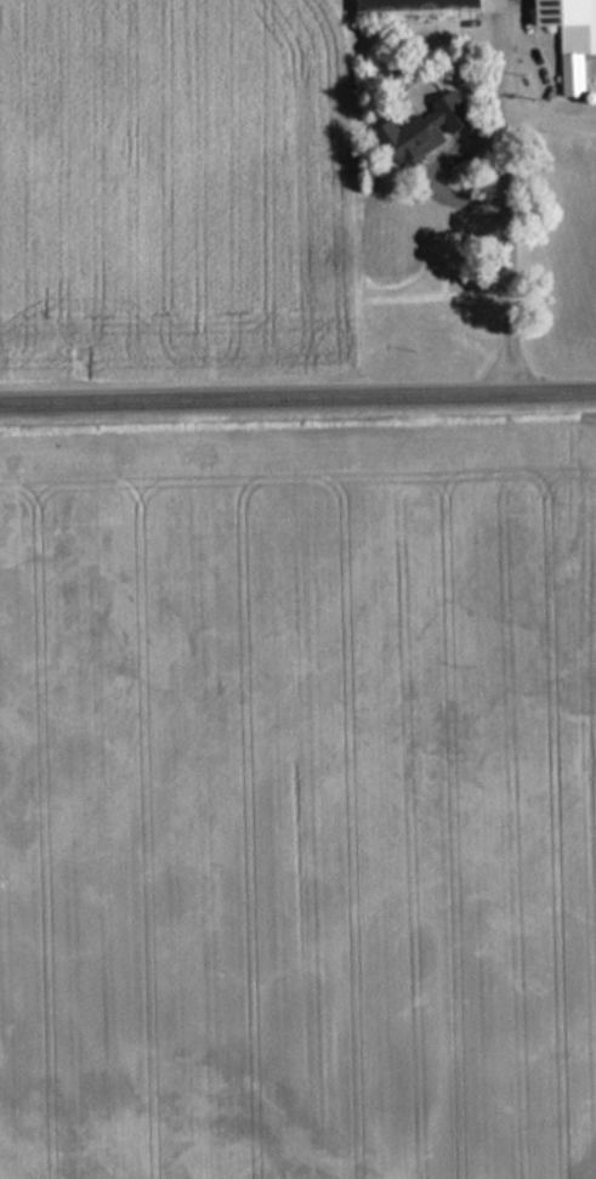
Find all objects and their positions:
building: (413, 6)
building: (568, 34)
building: (427, 148)
road: (509, 208)
road: (297, 398)

